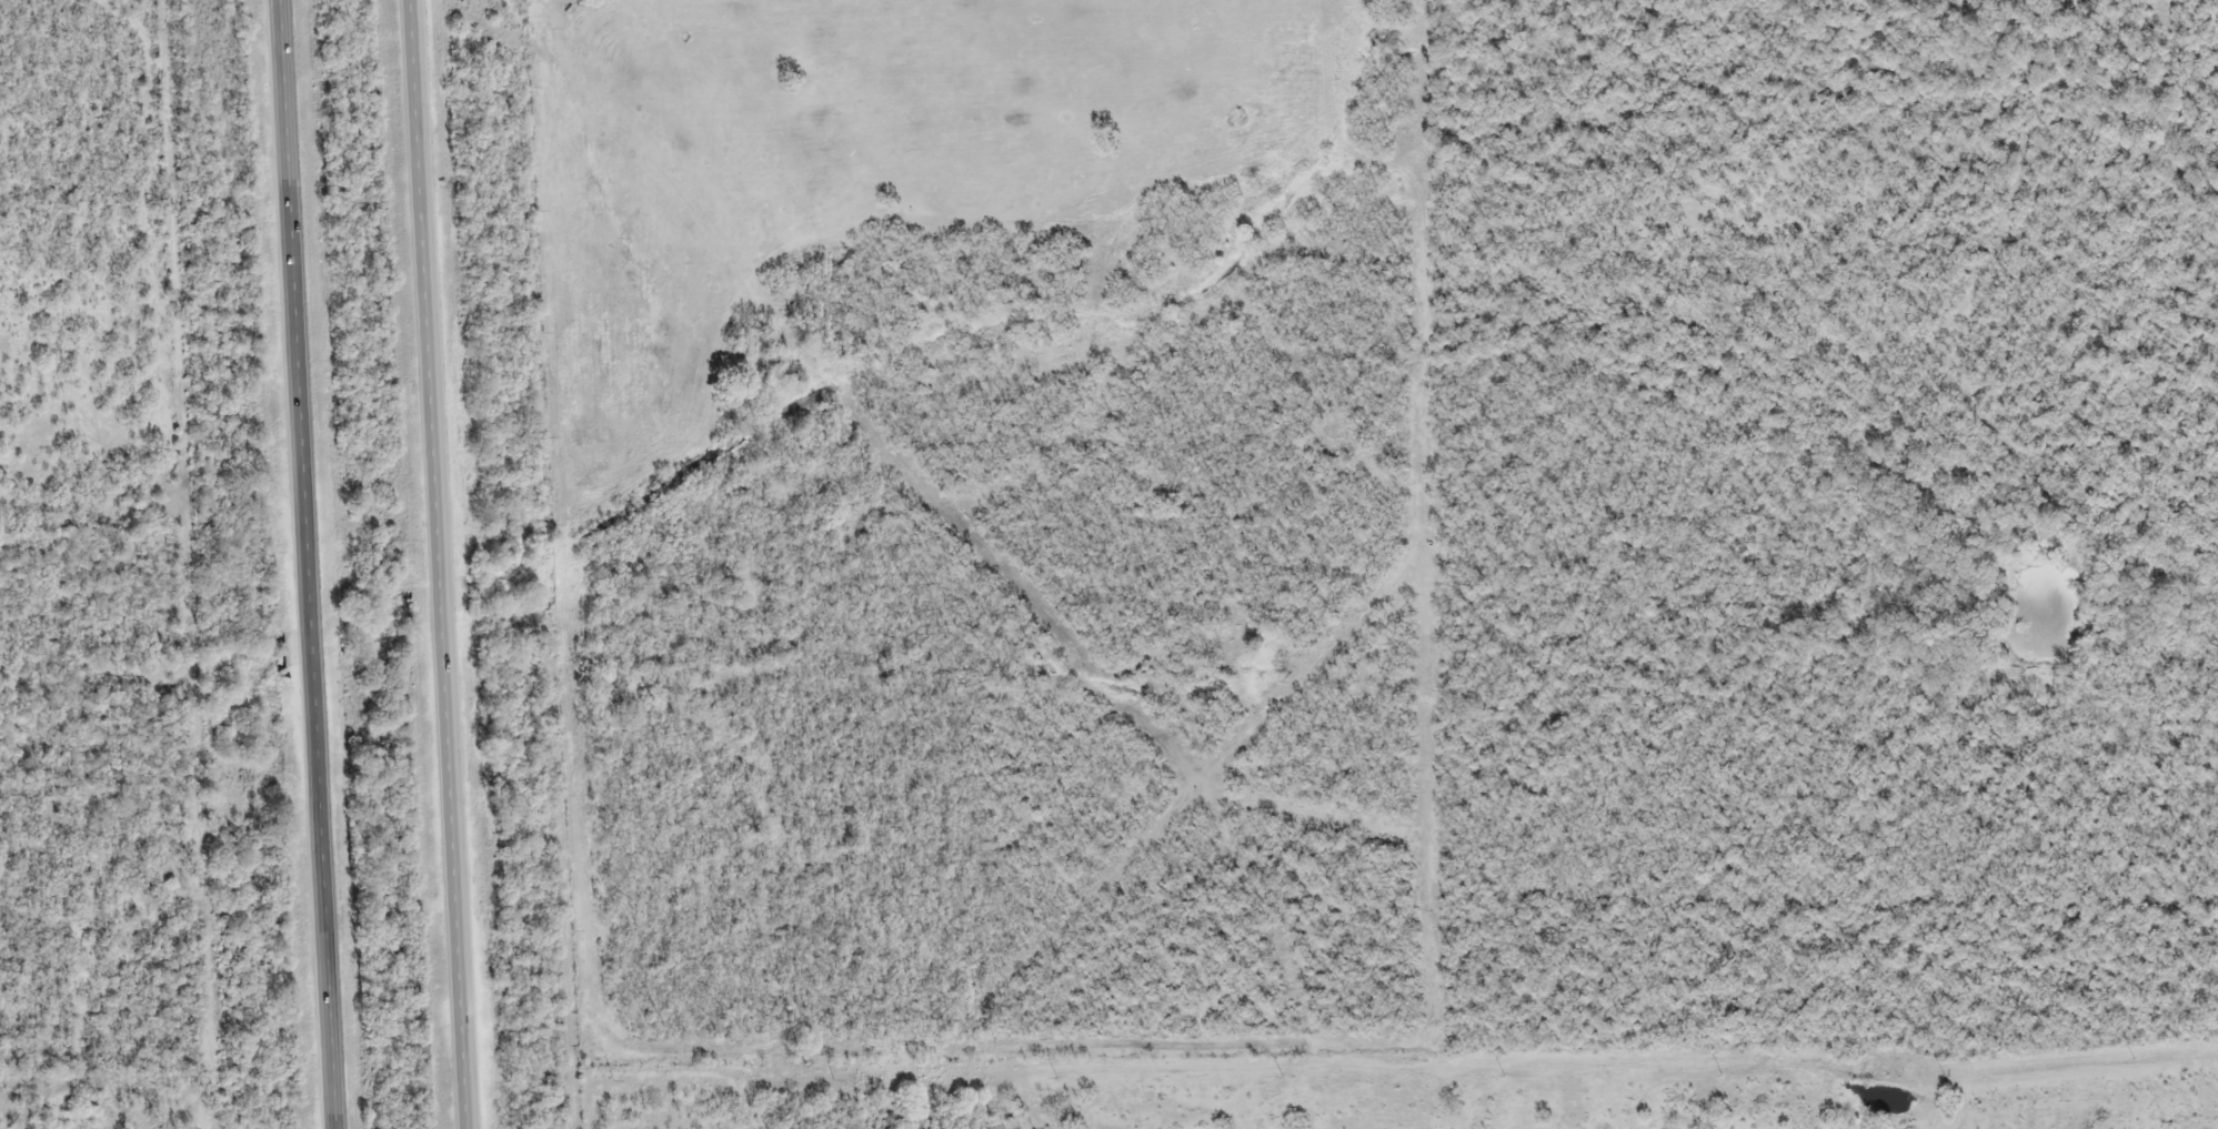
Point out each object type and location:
road: (318, 564)
road: (452, 564)

